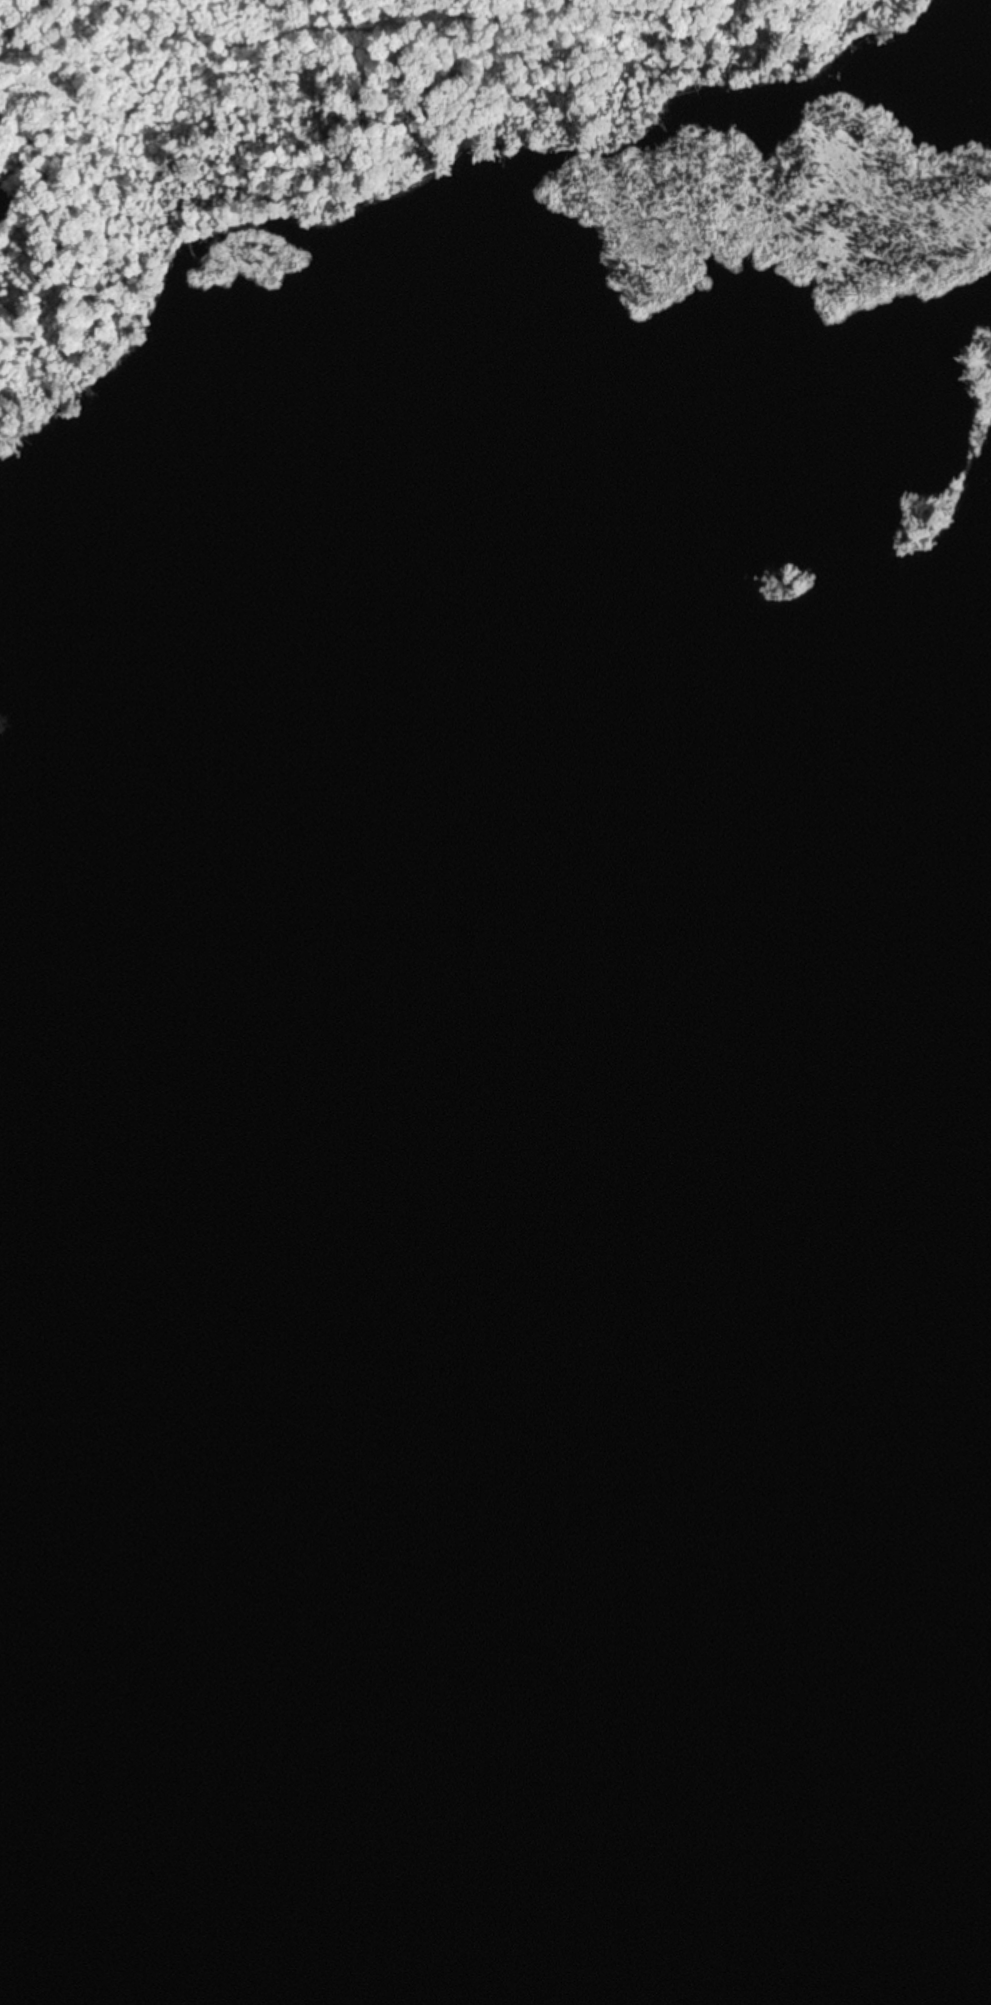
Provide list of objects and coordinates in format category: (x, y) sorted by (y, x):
river: (502, 1698)

